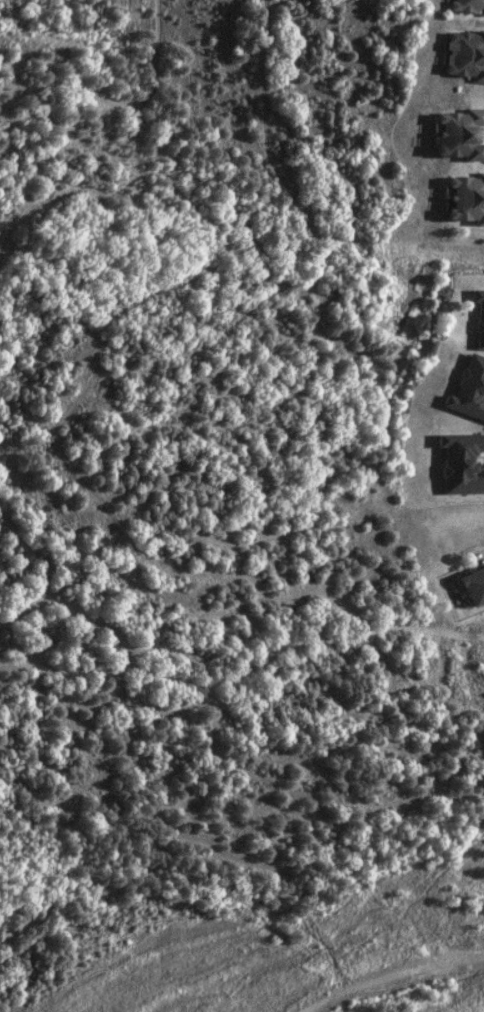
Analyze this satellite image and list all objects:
building: (468, 6)
building: (465, 54)
building: (460, 134)
building: (467, 197)
building: (478, 317)
building: (467, 389)
building: (461, 462)
building: (474, 586)

